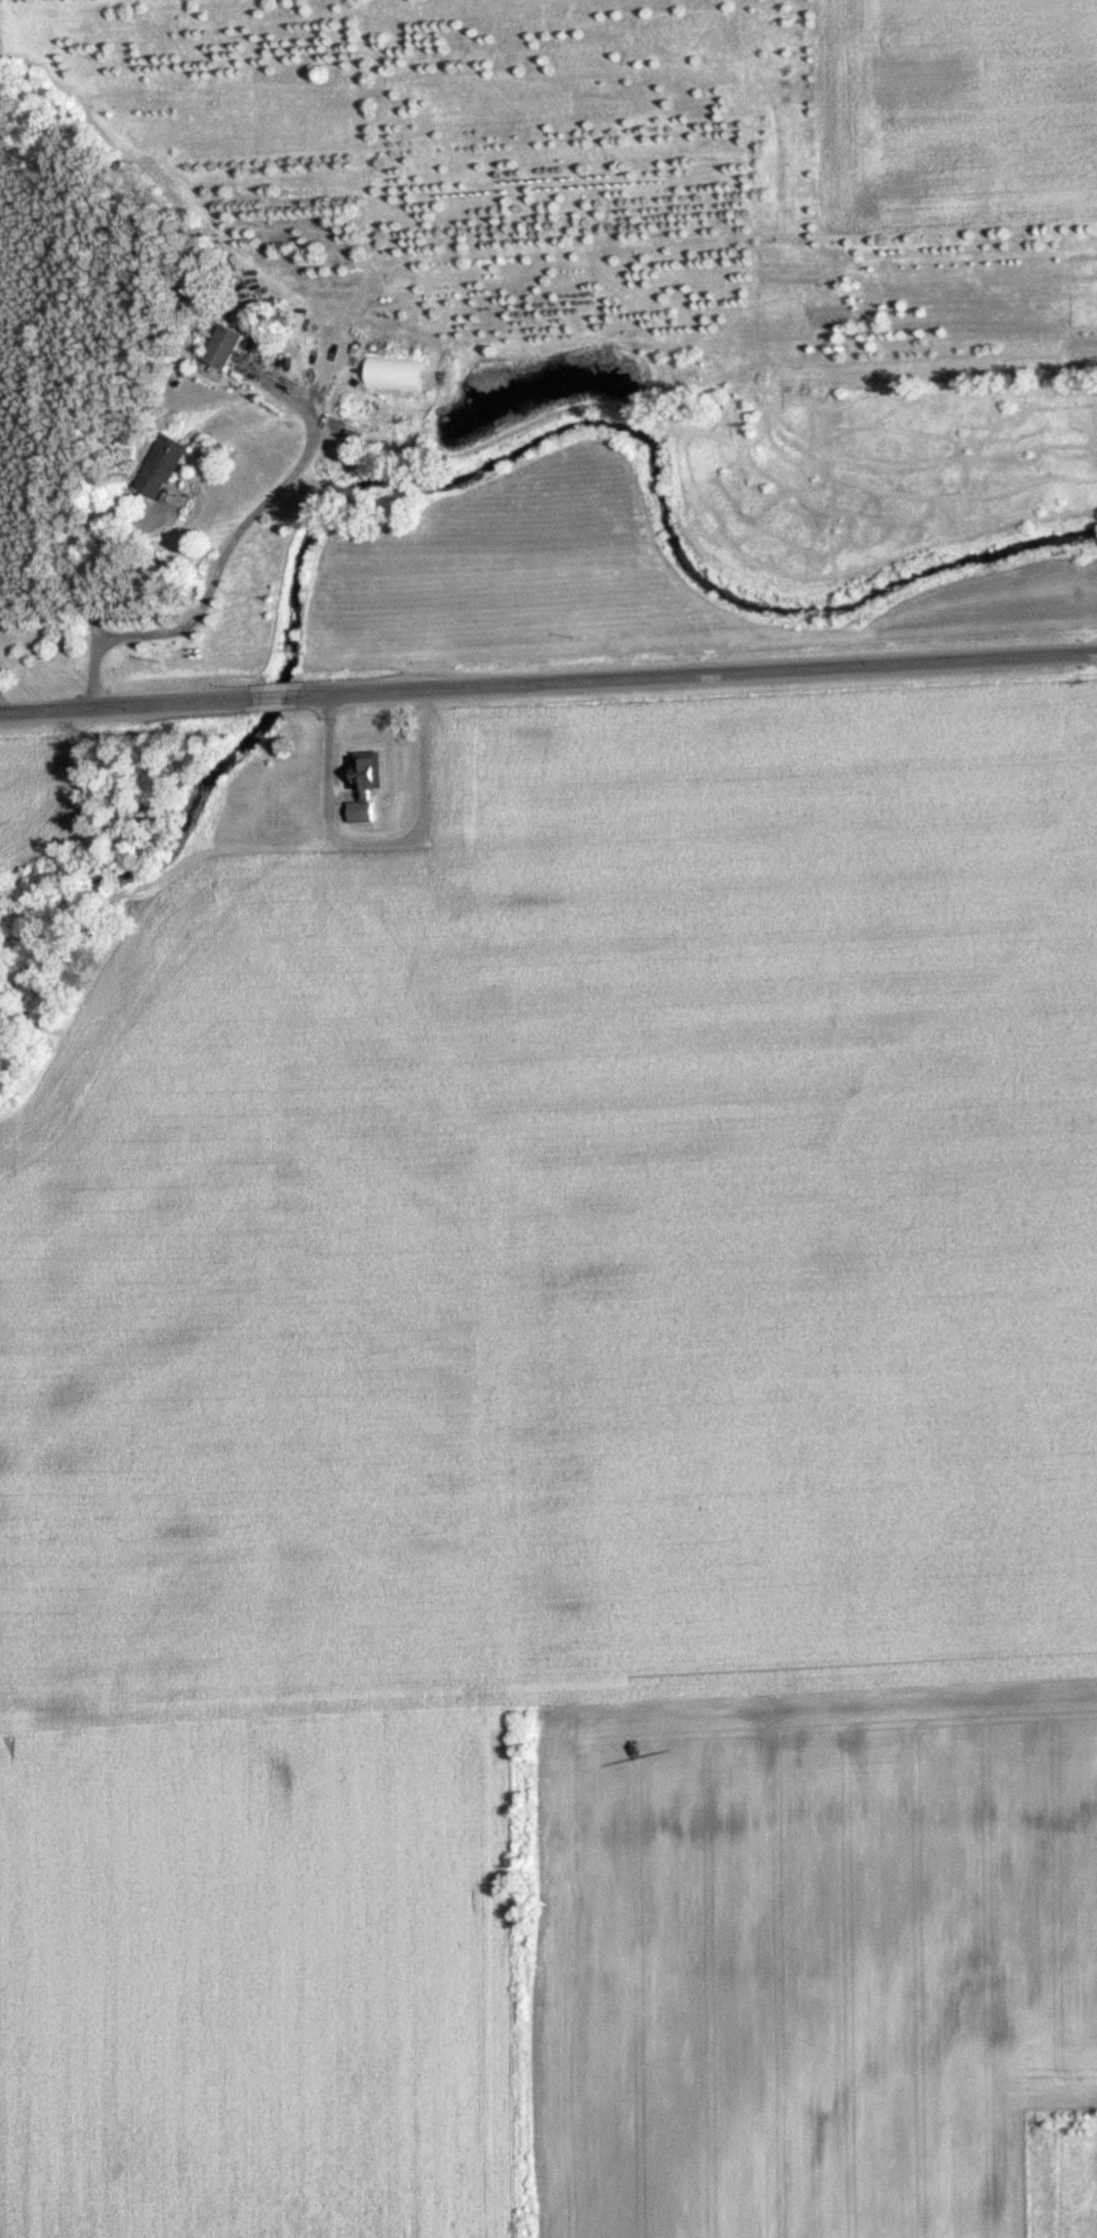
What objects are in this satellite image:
building: (223, 346)
building: (396, 373)
building: (163, 467)
road: (91, 595)
road: (547, 684)
building: (369, 787)

